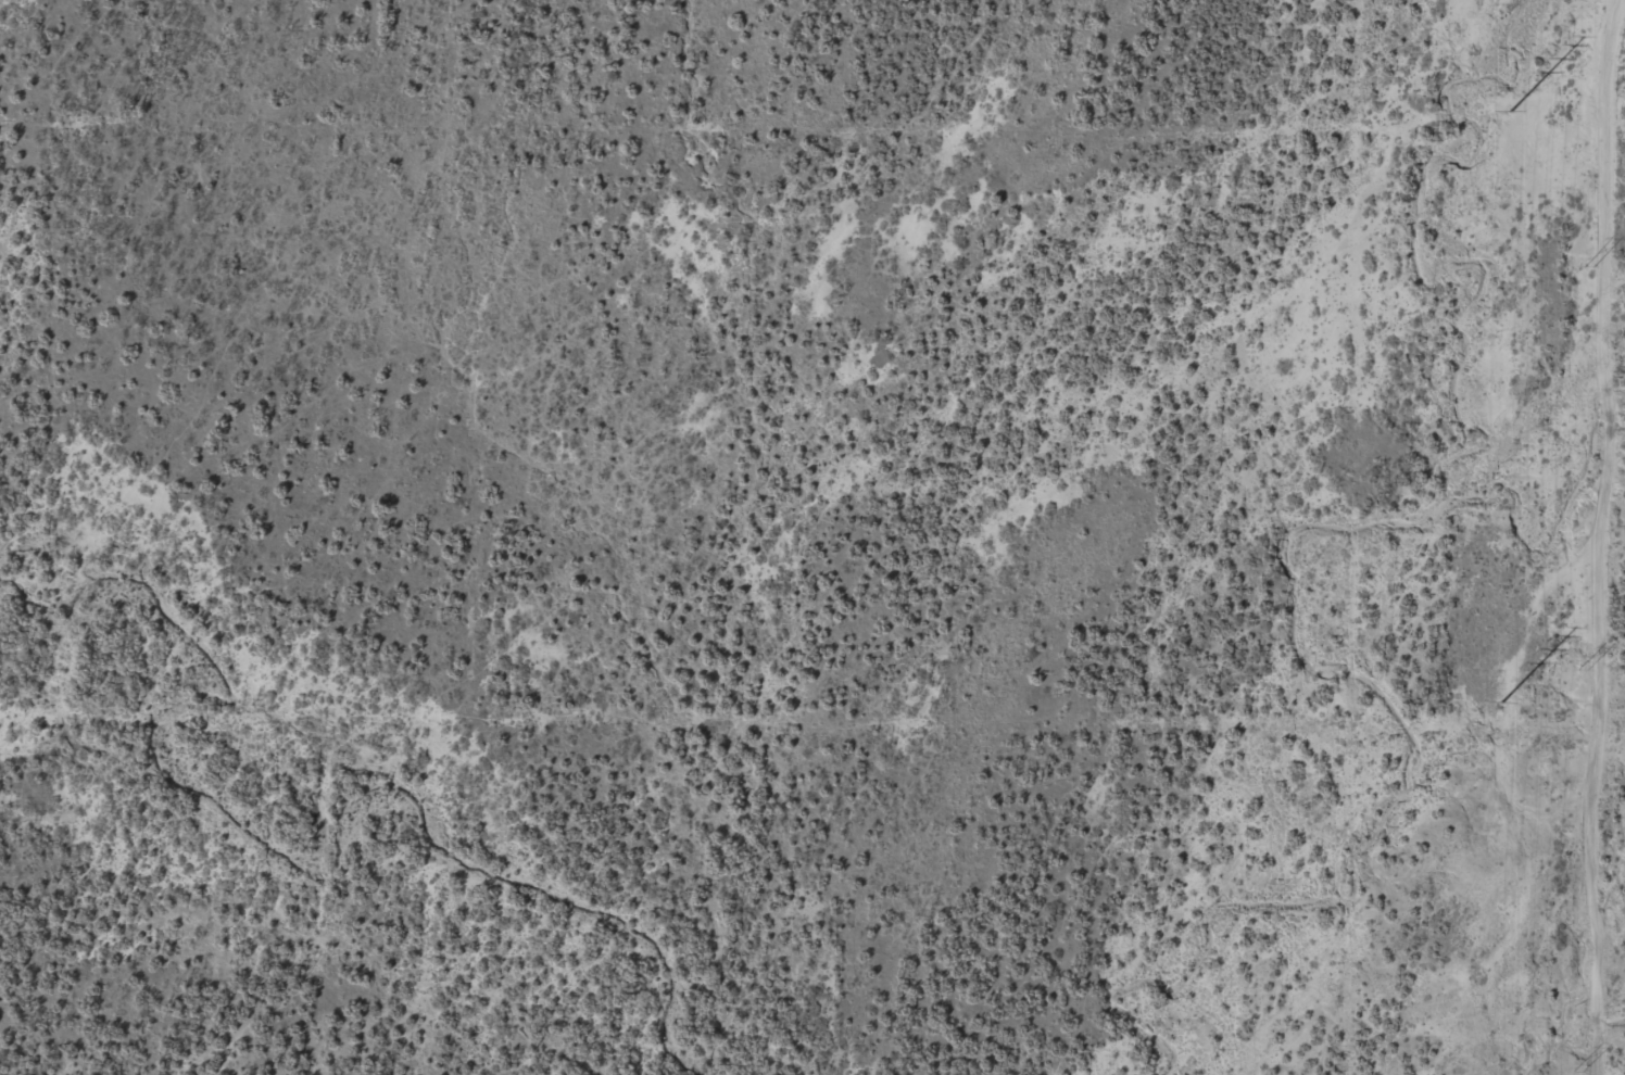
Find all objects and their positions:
power tower: (1511, 112)
power tower: (1588, 263)
power tower: (1584, 666)
power tower: (1502, 703)
power tower: (1577, 1067)

